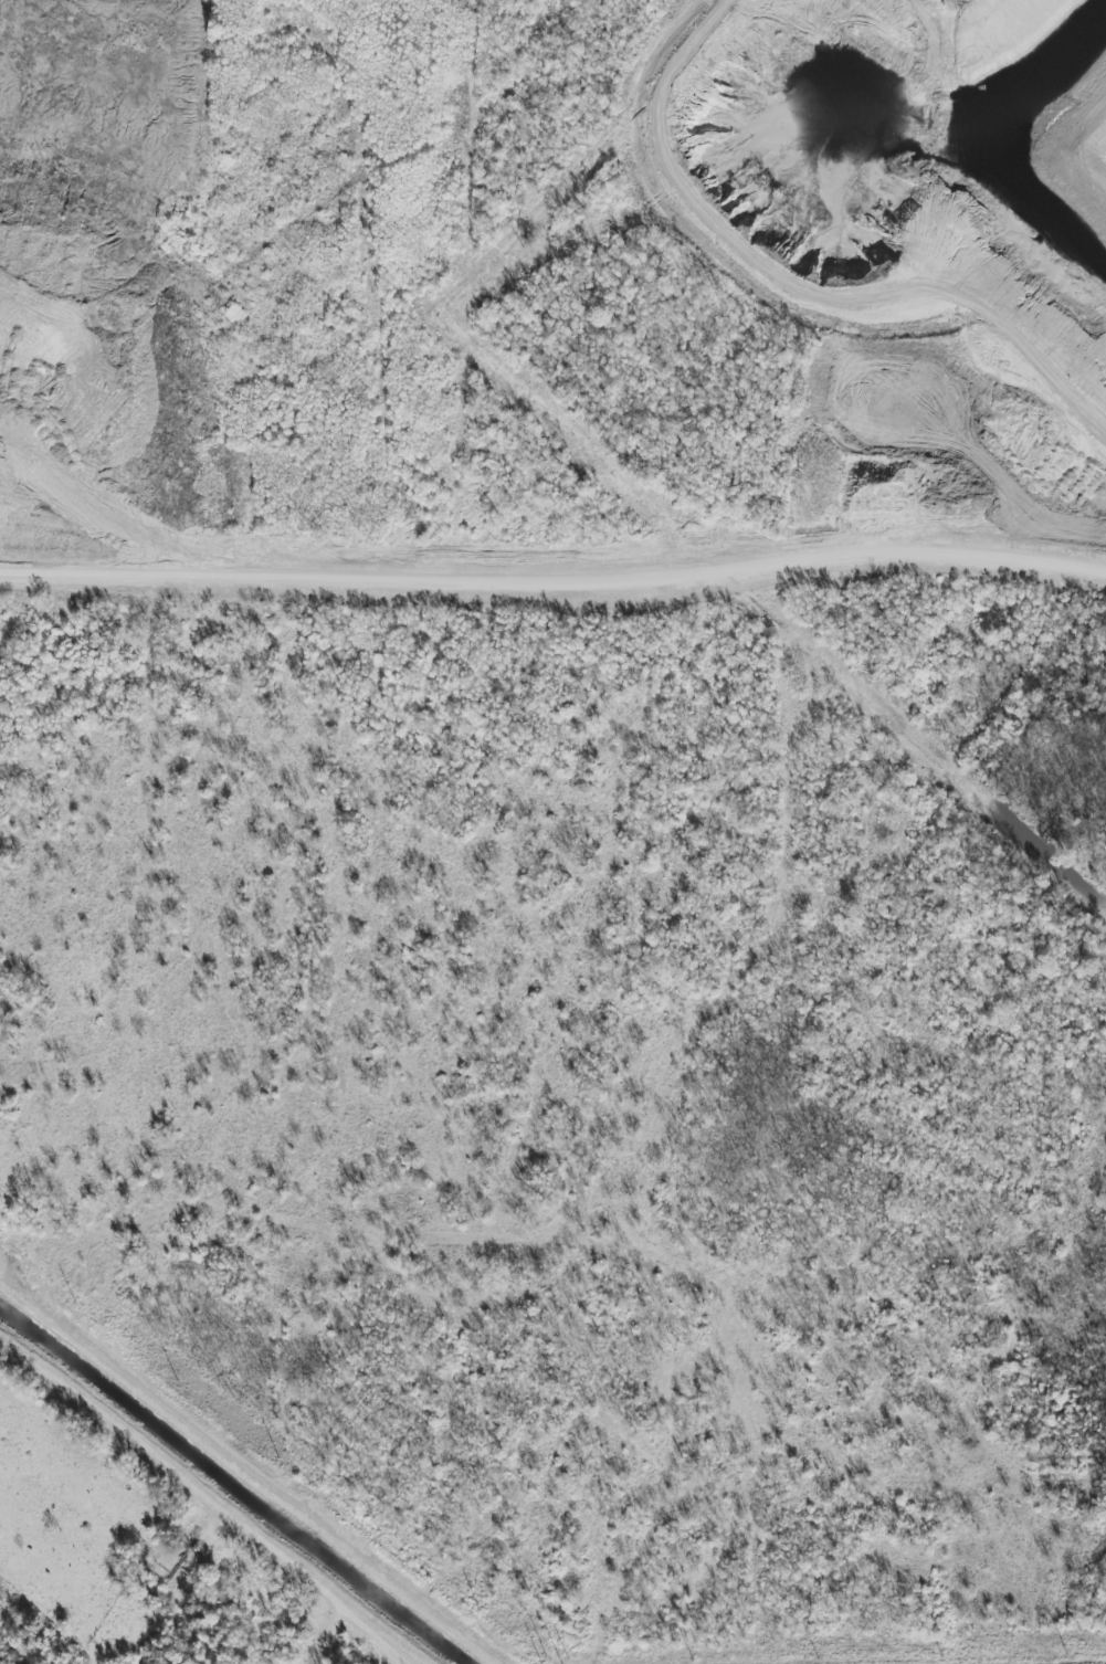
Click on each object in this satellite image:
road: (554, 584)

